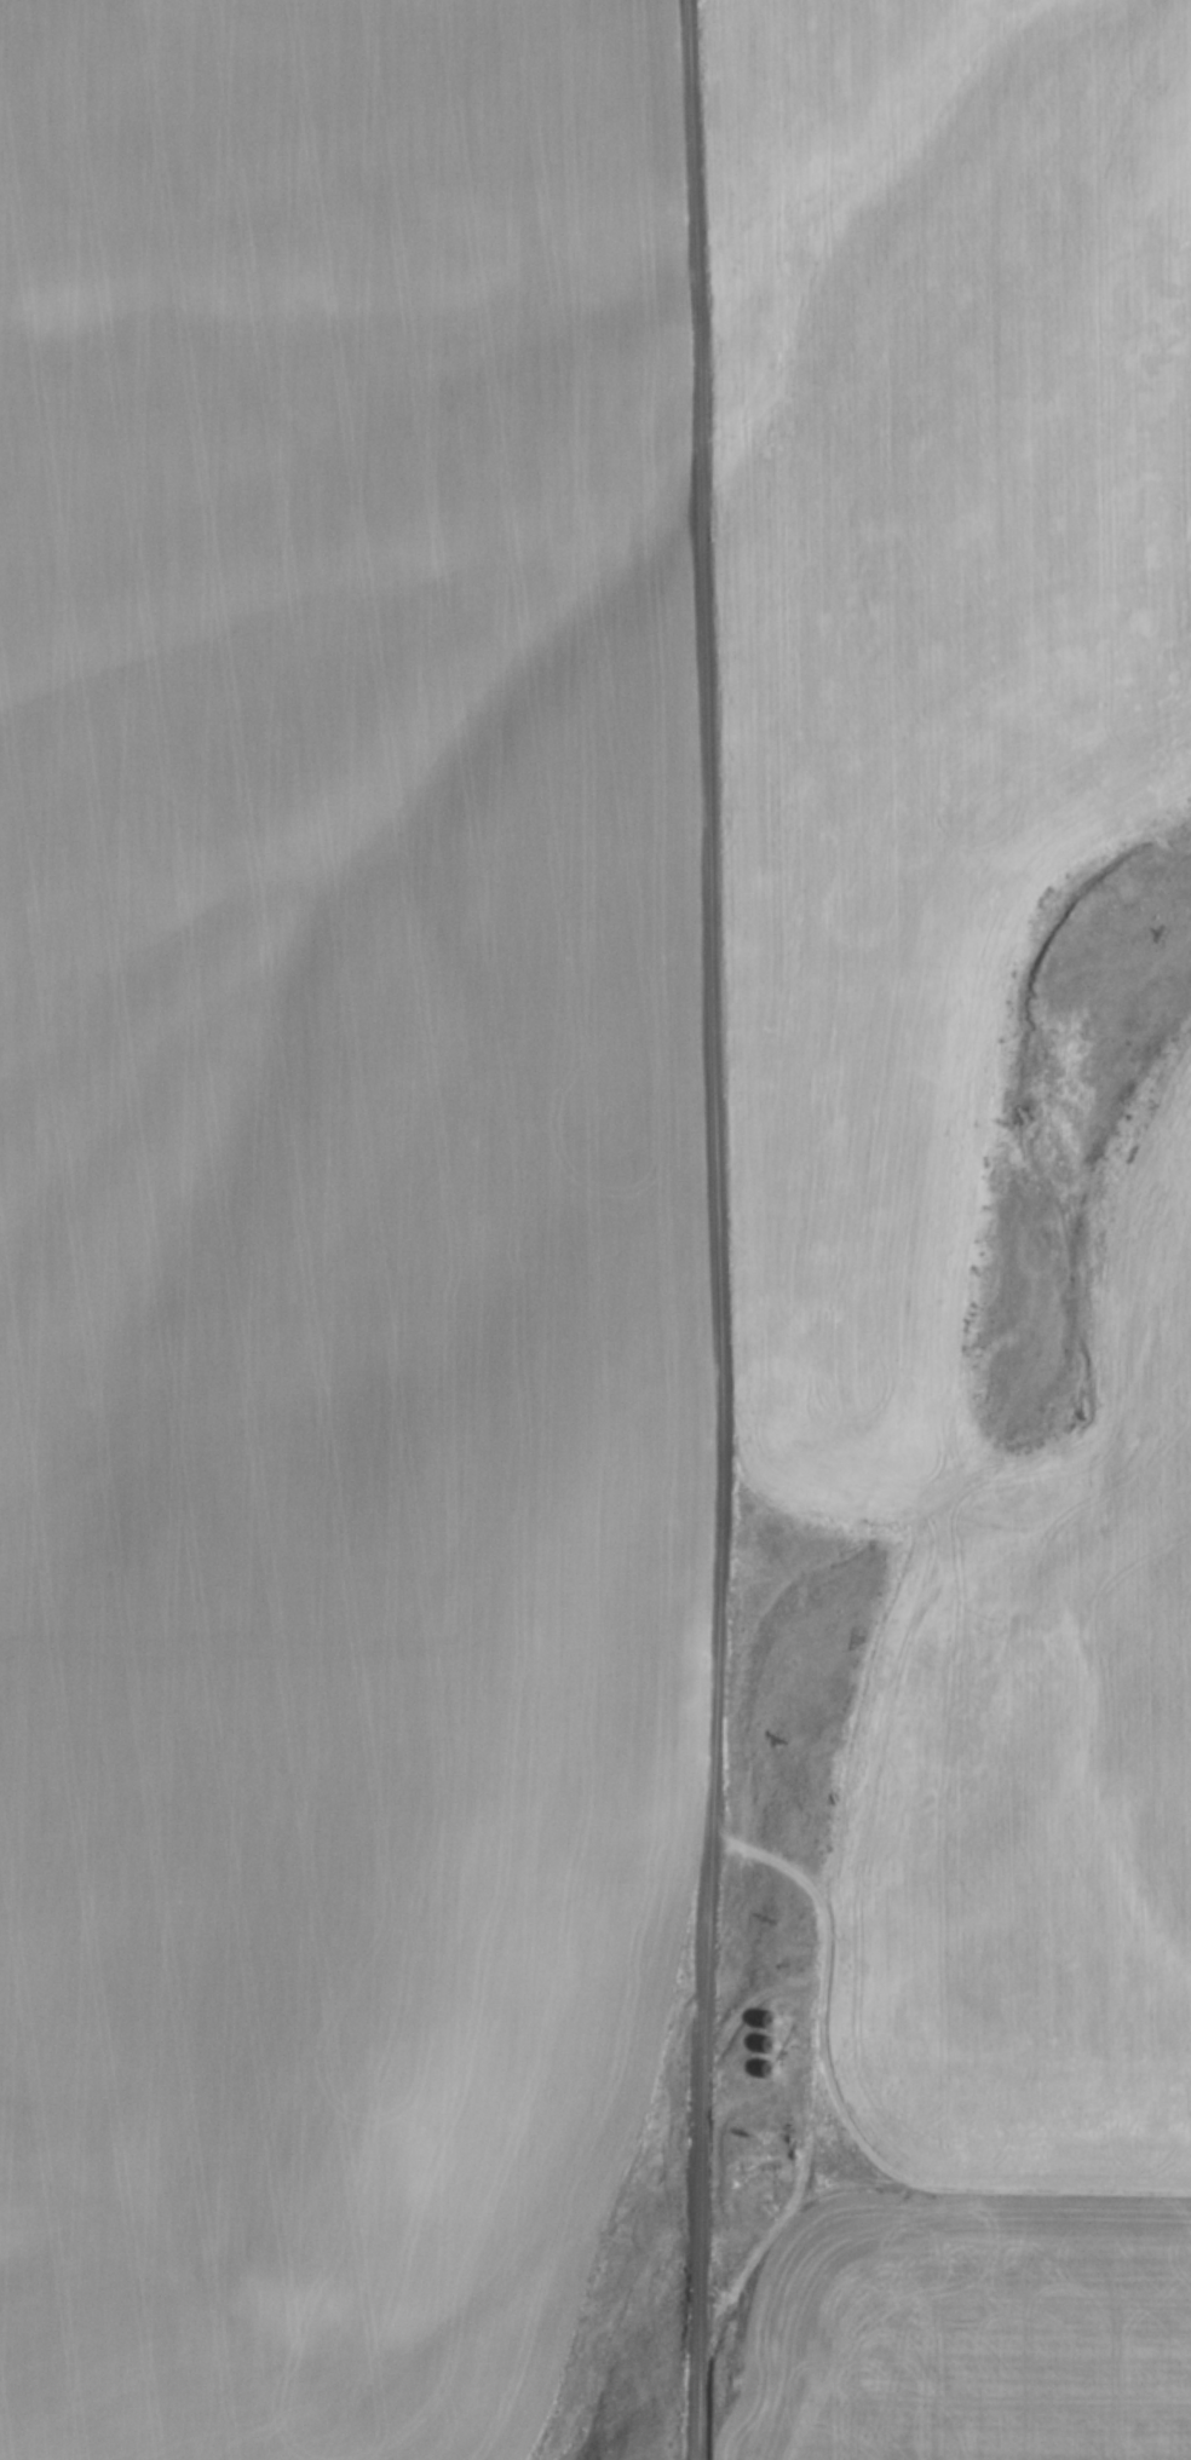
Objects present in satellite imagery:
road: (710, 1229)
building: (770, 2021)
building: (769, 2045)
building: (769, 2069)
building: (758, 2171)

